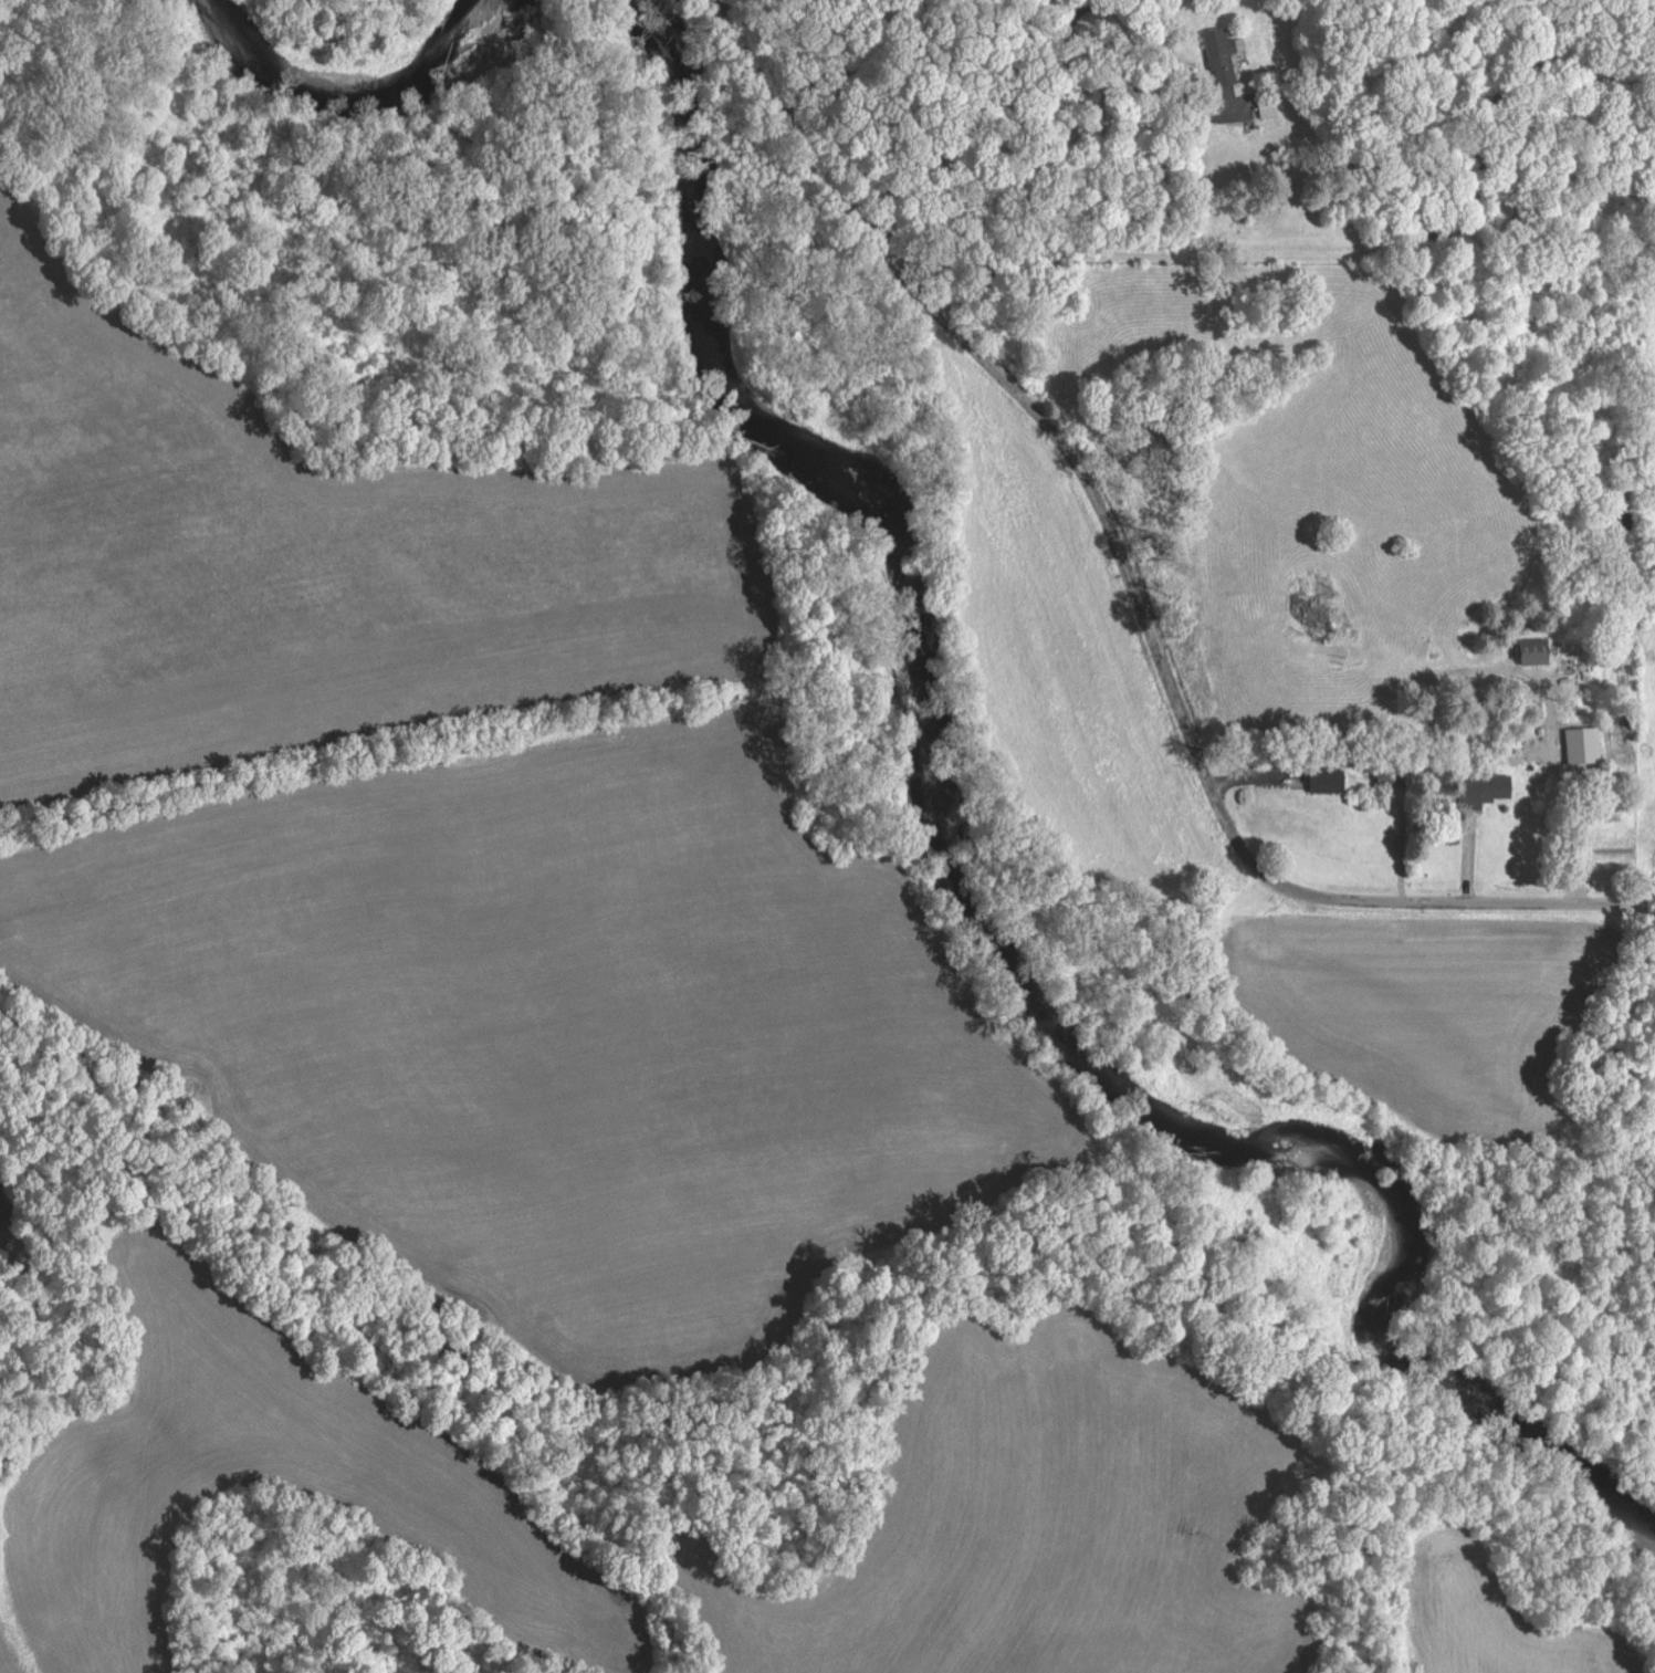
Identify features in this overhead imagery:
building: (1222, 54)
building: (1269, 105)
road: (1048, 431)
building: (1537, 650)
building: (1571, 743)
building: (1330, 780)
building: (1485, 790)
road: (1480, 903)

